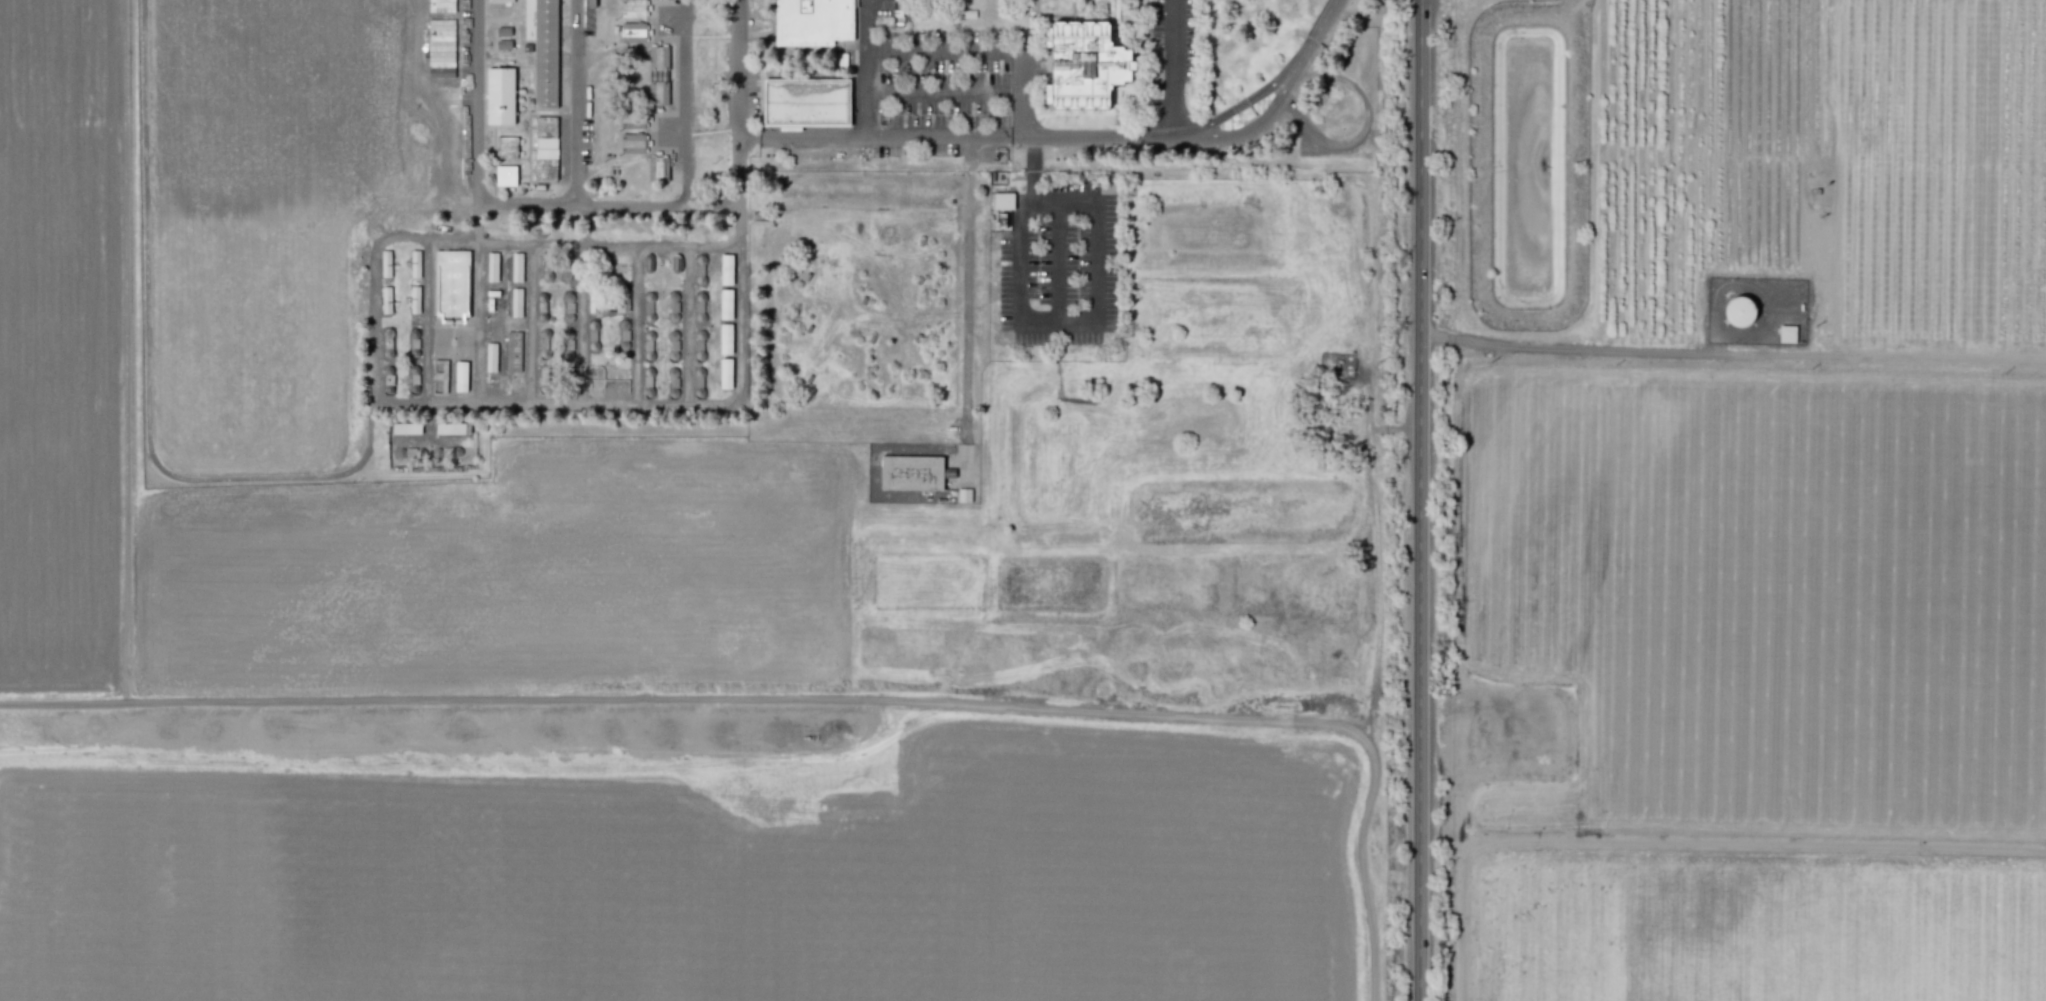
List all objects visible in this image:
building: (441, 5)
building: (637, 8)
building: (816, 21)
building: (503, 31)
building: (636, 33)
building: (503, 44)
parking lot: (1174, 46)
building: (546, 48)
road: (935, 52)
building: (661, 57)
road: (1302, 61)
building: (1087, 66)
road: (868, 67)
road: (1175, 67)
road: (1029, 86)
parking lot: (934, 91)
road: (935, 93)
building: (661, 94)
road: (476, 100)
building: (503, 101)
road: (577, 101)
road: (686, 102)
building: (803, 103)
building: (637, 118)
building: (549, 127)
road: (1213, 128)
road: (956, 135)
road: (1359, 137)
building: (636, 143)
building: (510, 148)
building: (661, 168)
road: (1031, 168)
building: (551, 170)
building: (509, 176)
road: (737, 198)
building: (1003, 200)
road: (1063, 201)
road: (606, 202)
road: (1057, 260)
parking lot: (1060, 262)
building: (385, 263)
building: (414, 263)
road: (966, 265)
building: (491, 267)
building: (516, 267)
building: (726, 269)
building: (455, 284)
building: (414, 297)
building: (386, 299)
building: (516, 302)
building: (726, 304)
building: (1740, 311)
storage tank: (1740, 311)
road: (375, 317)
road: (1054, 319)
road: (579, 323)
building: (1786, 334)
building: (725, 338)
building: (513, 346)
road: (1732, 353)
building: (490, 357)
road: (148, 373)
building: (725, 373)
building: (460, 376)
building: (405, 428)
building: (452, 428)
building: (914, 473)
road: (1420, 500)
road: (815, 698)
road: (1749, 843)

